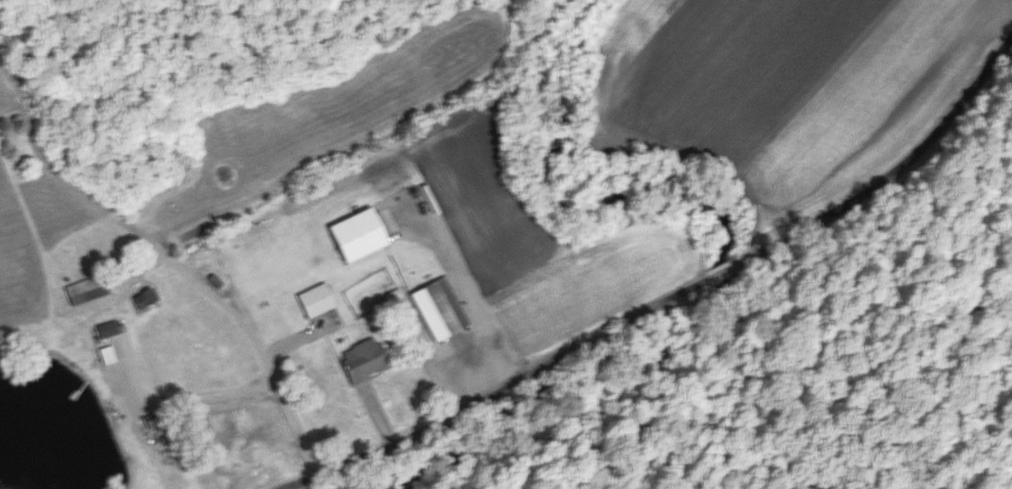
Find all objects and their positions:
building: (147, 299)
building: (317, 300)
road: (654, 306)
building: (443, 308)
road: (251, 343)
building: (109, 355)
building: (368, 362)
road: (169, 399)

